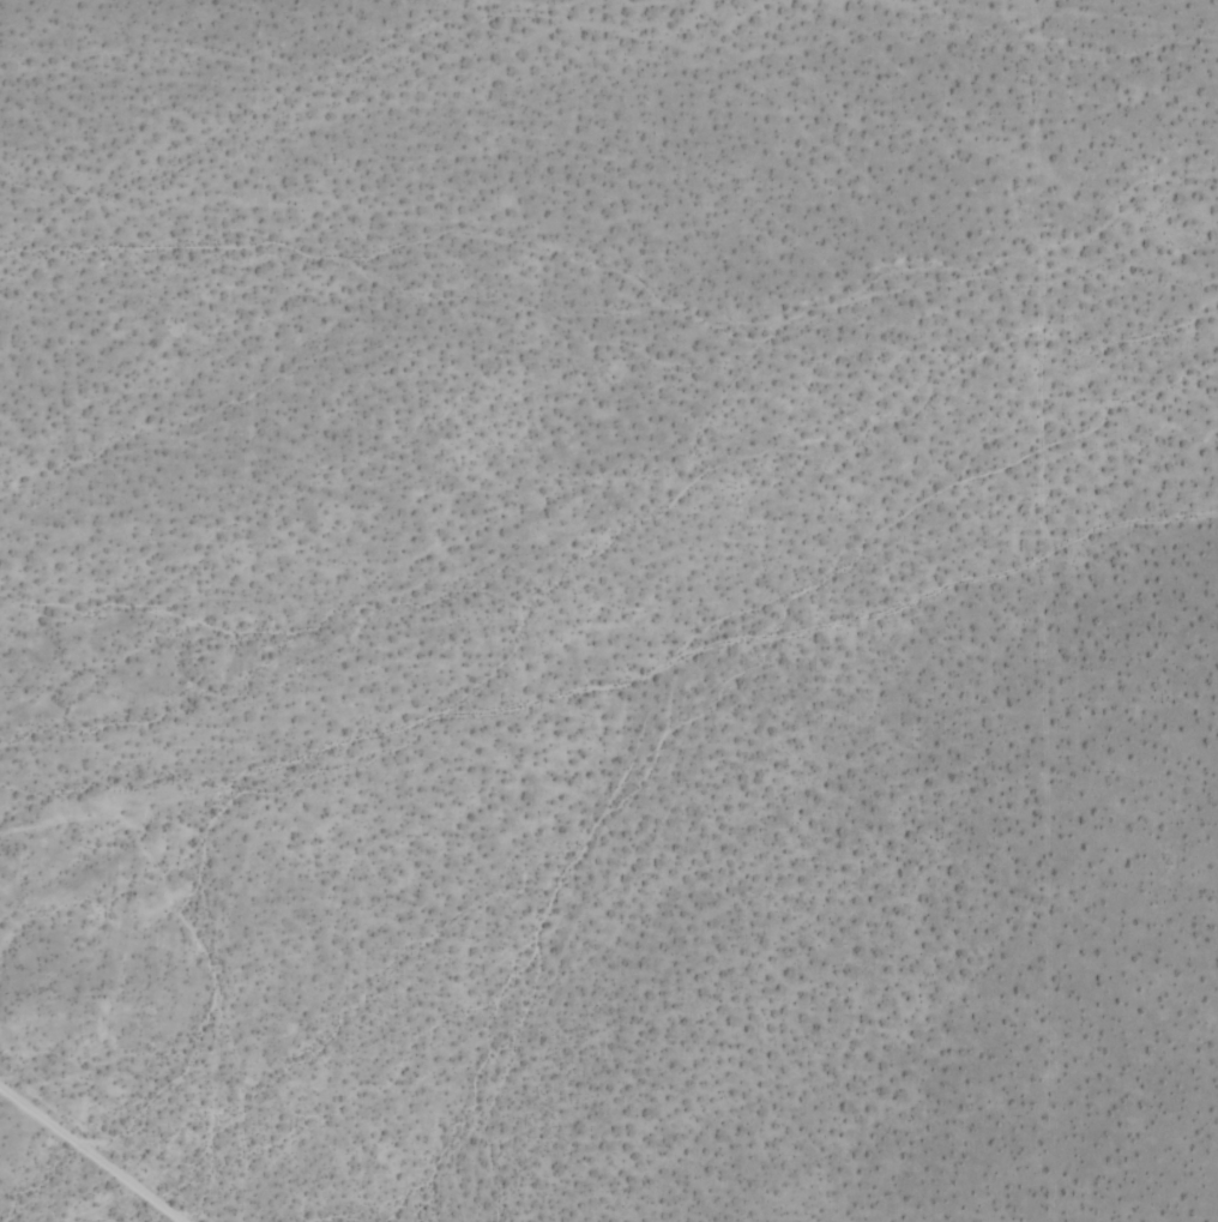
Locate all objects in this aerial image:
road: (90, 1155)

